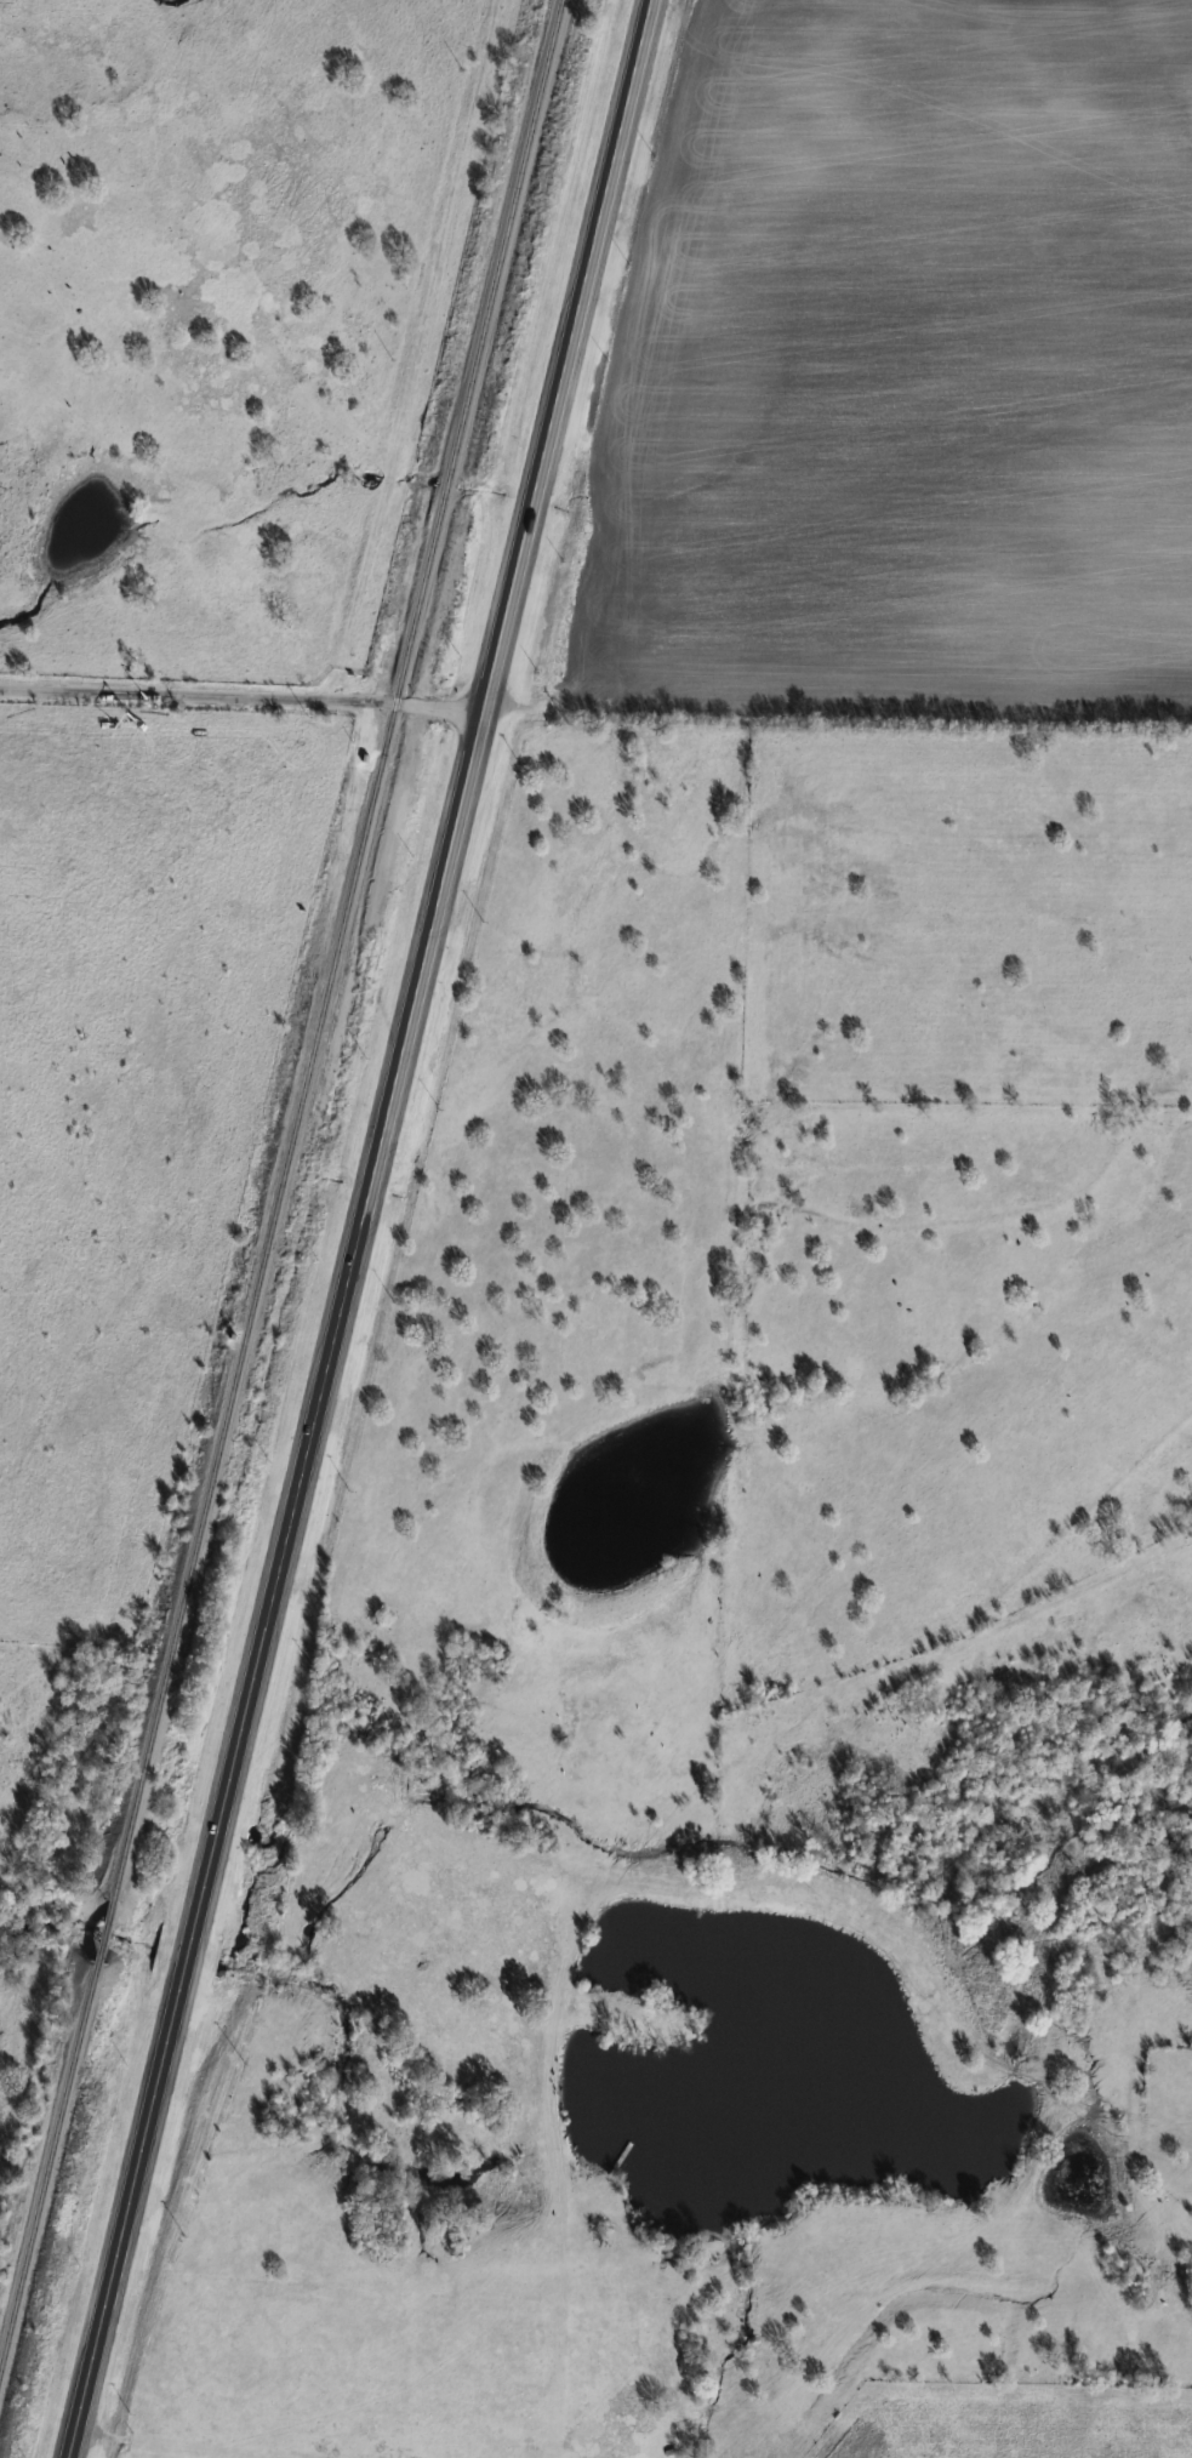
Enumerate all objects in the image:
road: (241, 698)
railway: (338, 948)
road: (360, 1228)
railway: (109, 1931)
railway: (50, 2175)

